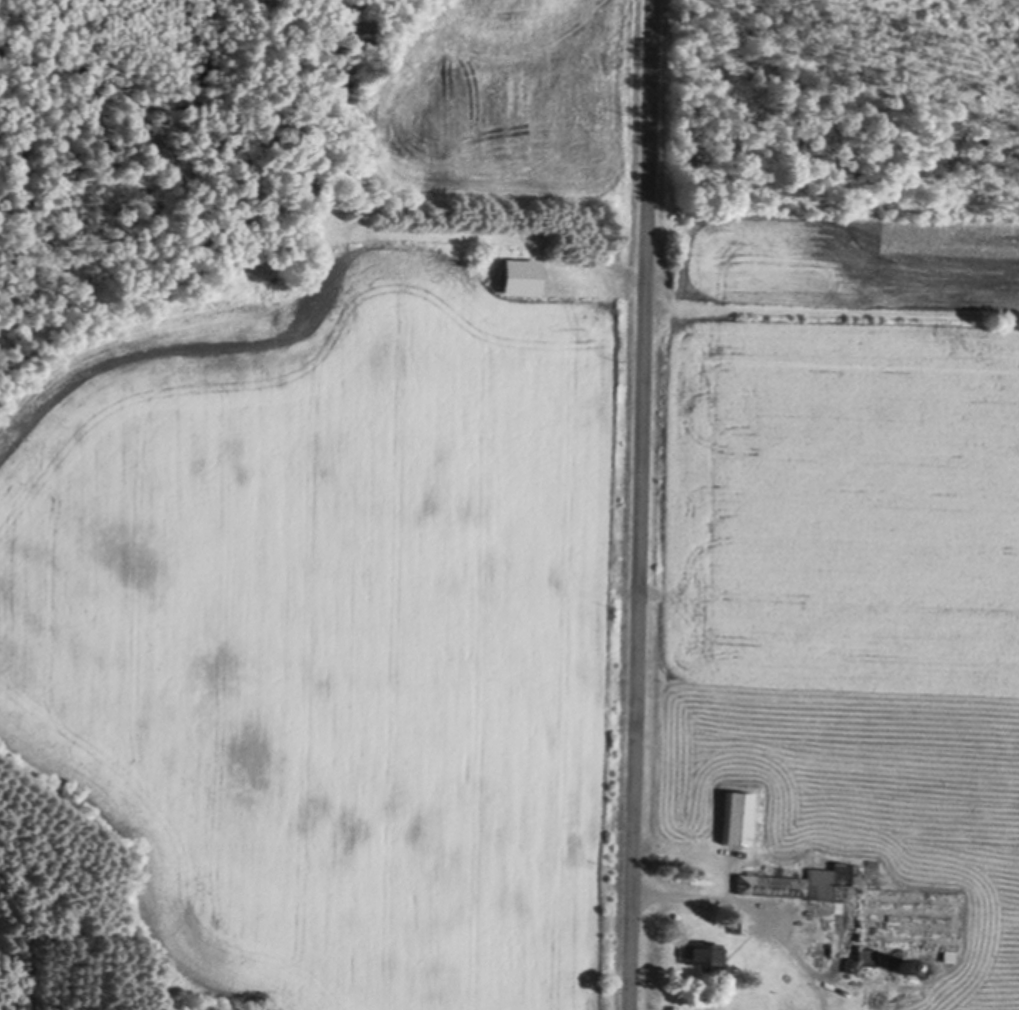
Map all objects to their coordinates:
road: (644, 505)
building: (738, 816)
building: (738, 921)
building: (846, 922)
building: (700, 953)
building: (906, 963)

